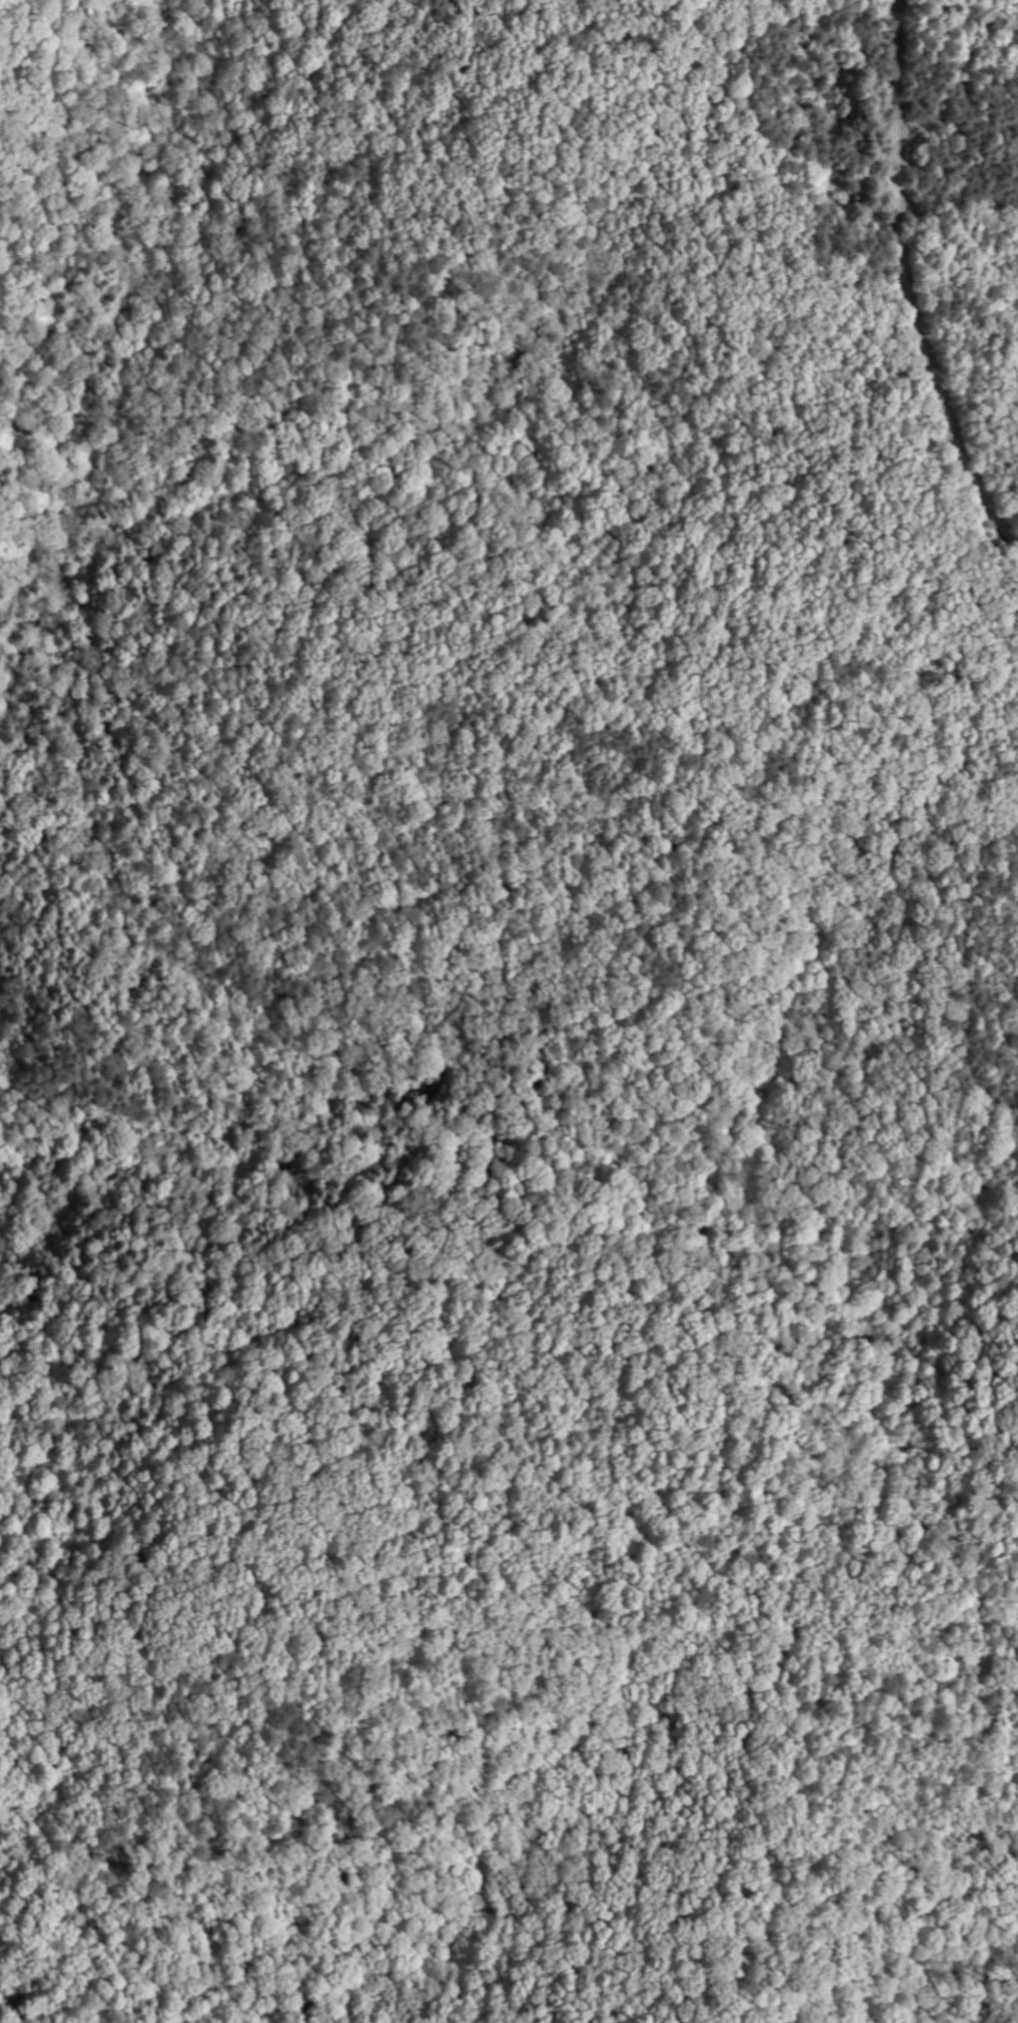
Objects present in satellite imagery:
road: (909, 280)
road: (942, 956)

